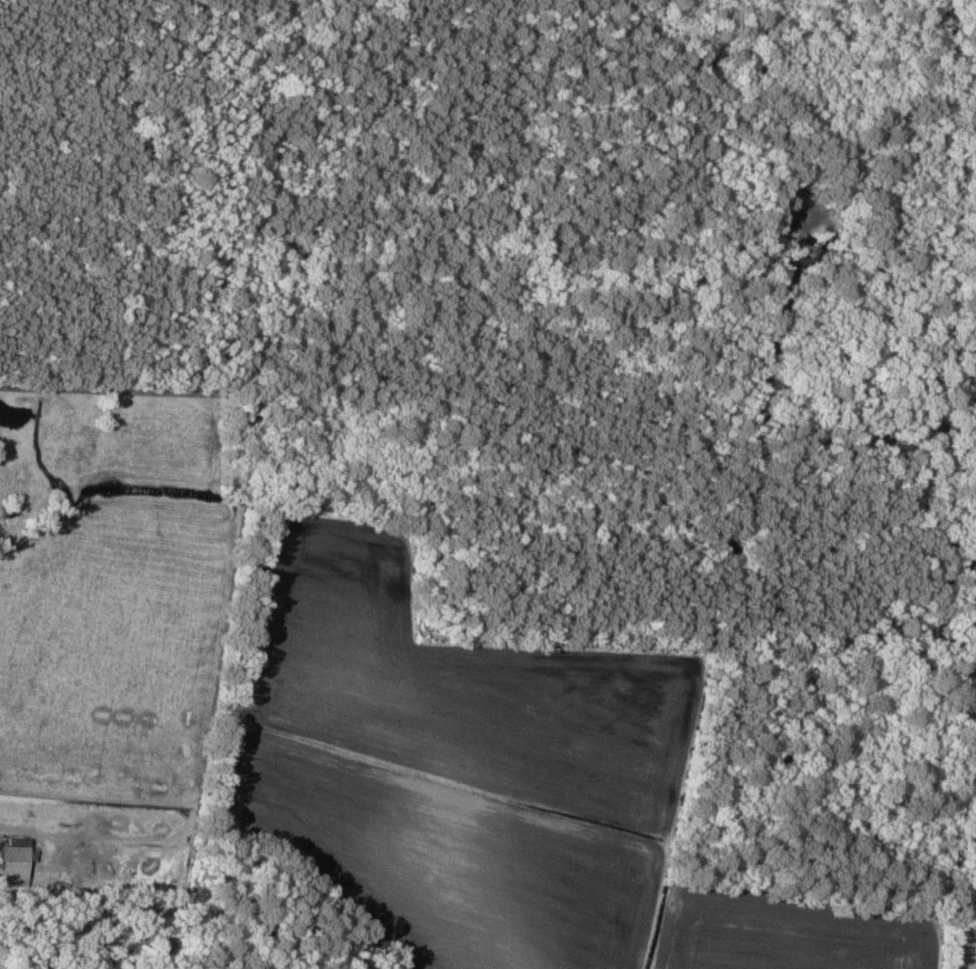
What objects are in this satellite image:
building: (15, 862)

